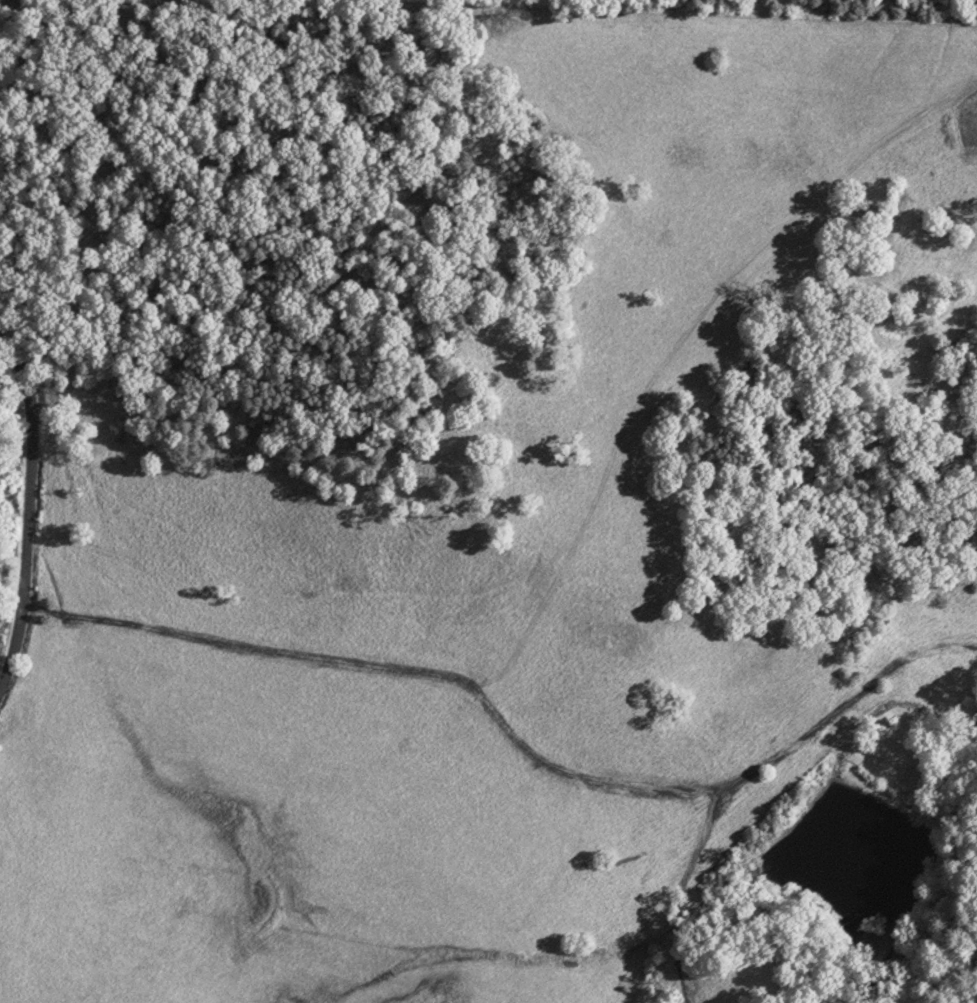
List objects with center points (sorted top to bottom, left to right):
road: (50, 501)
road: (23, 520)

